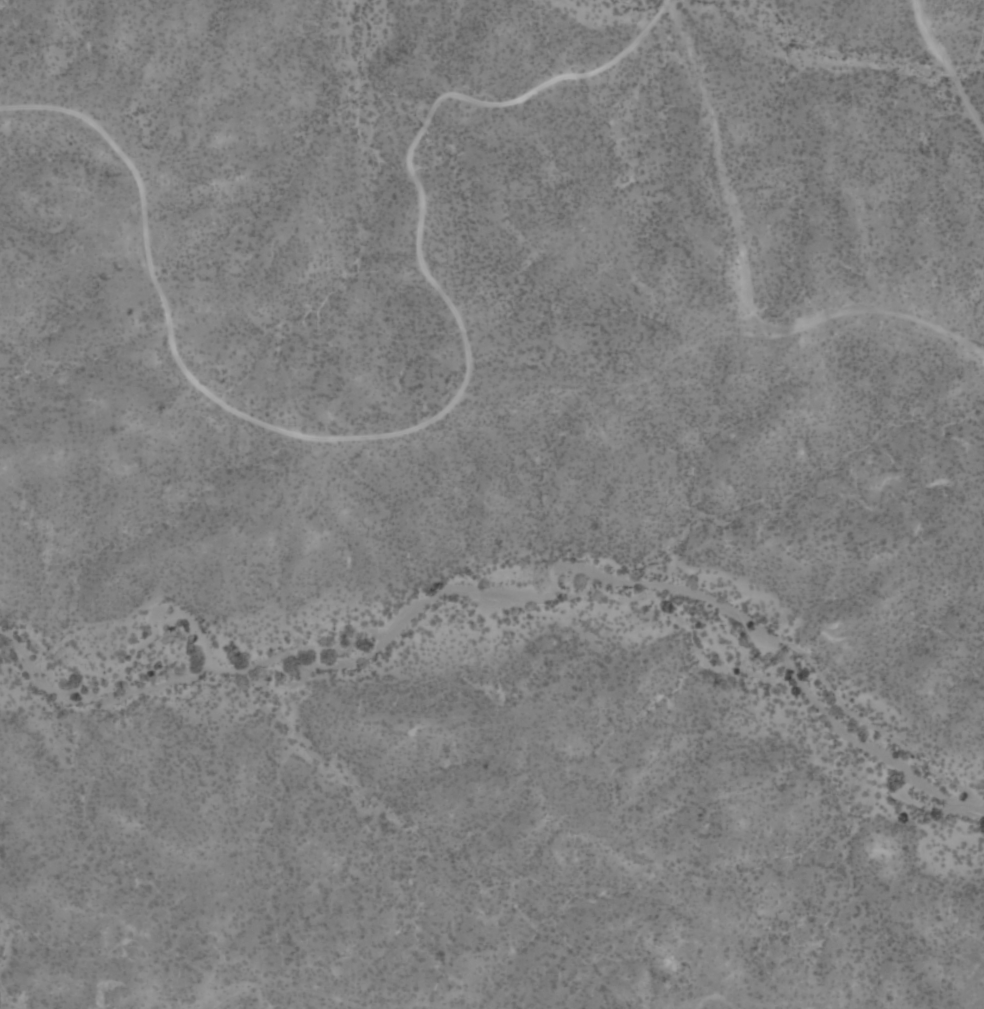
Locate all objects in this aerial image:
road: (947, 68)
road: (425, 419)

